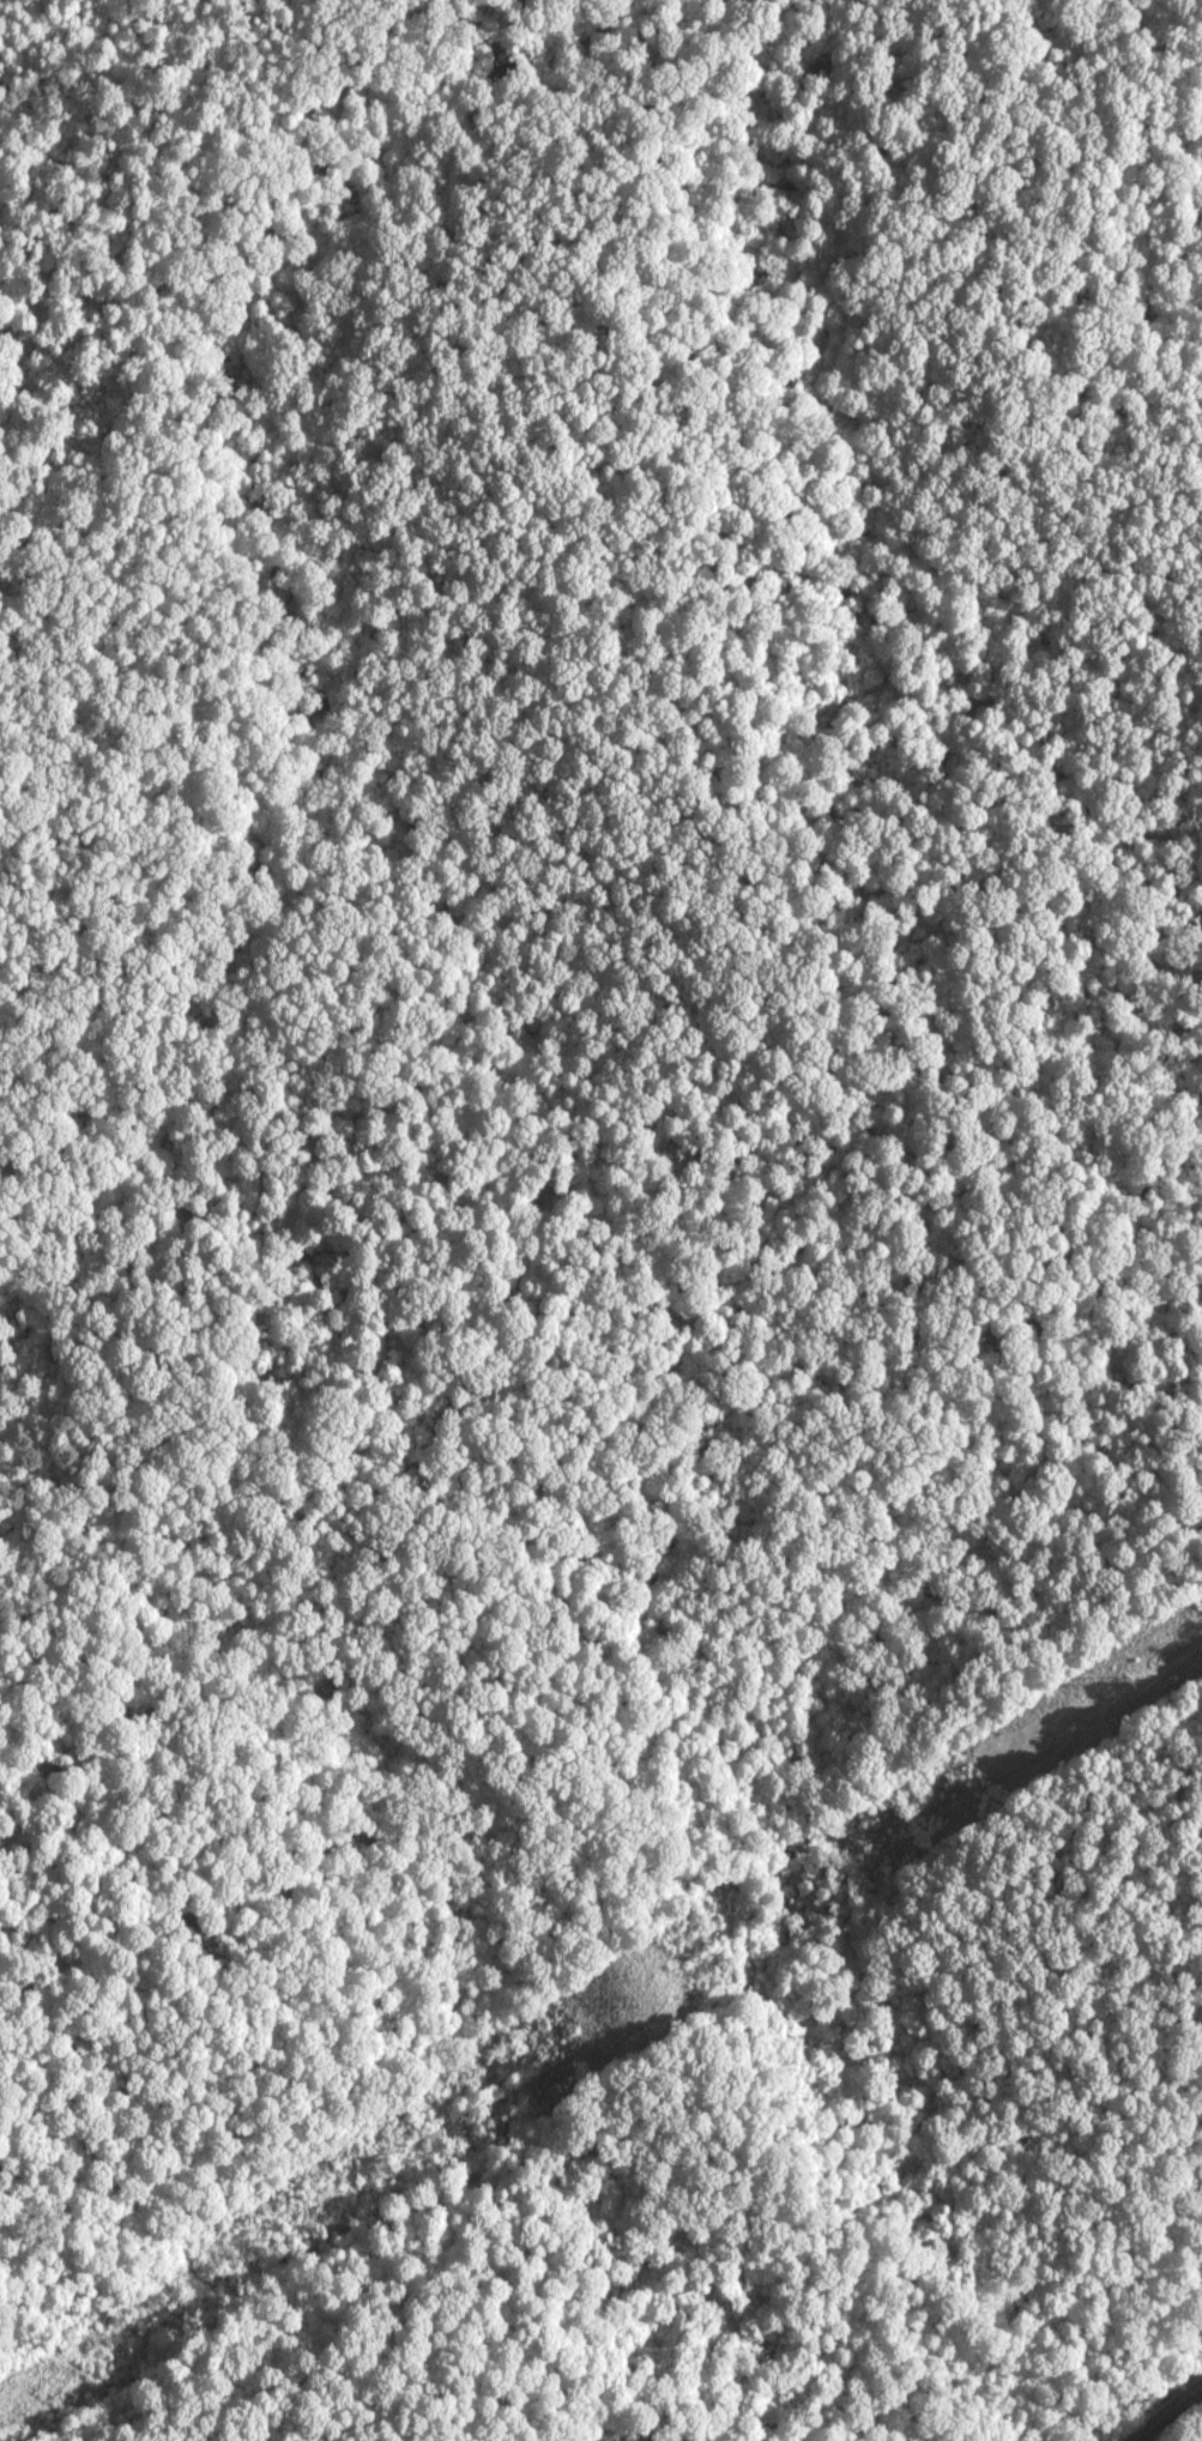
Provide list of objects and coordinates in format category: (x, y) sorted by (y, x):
road: (1170, 2415)

